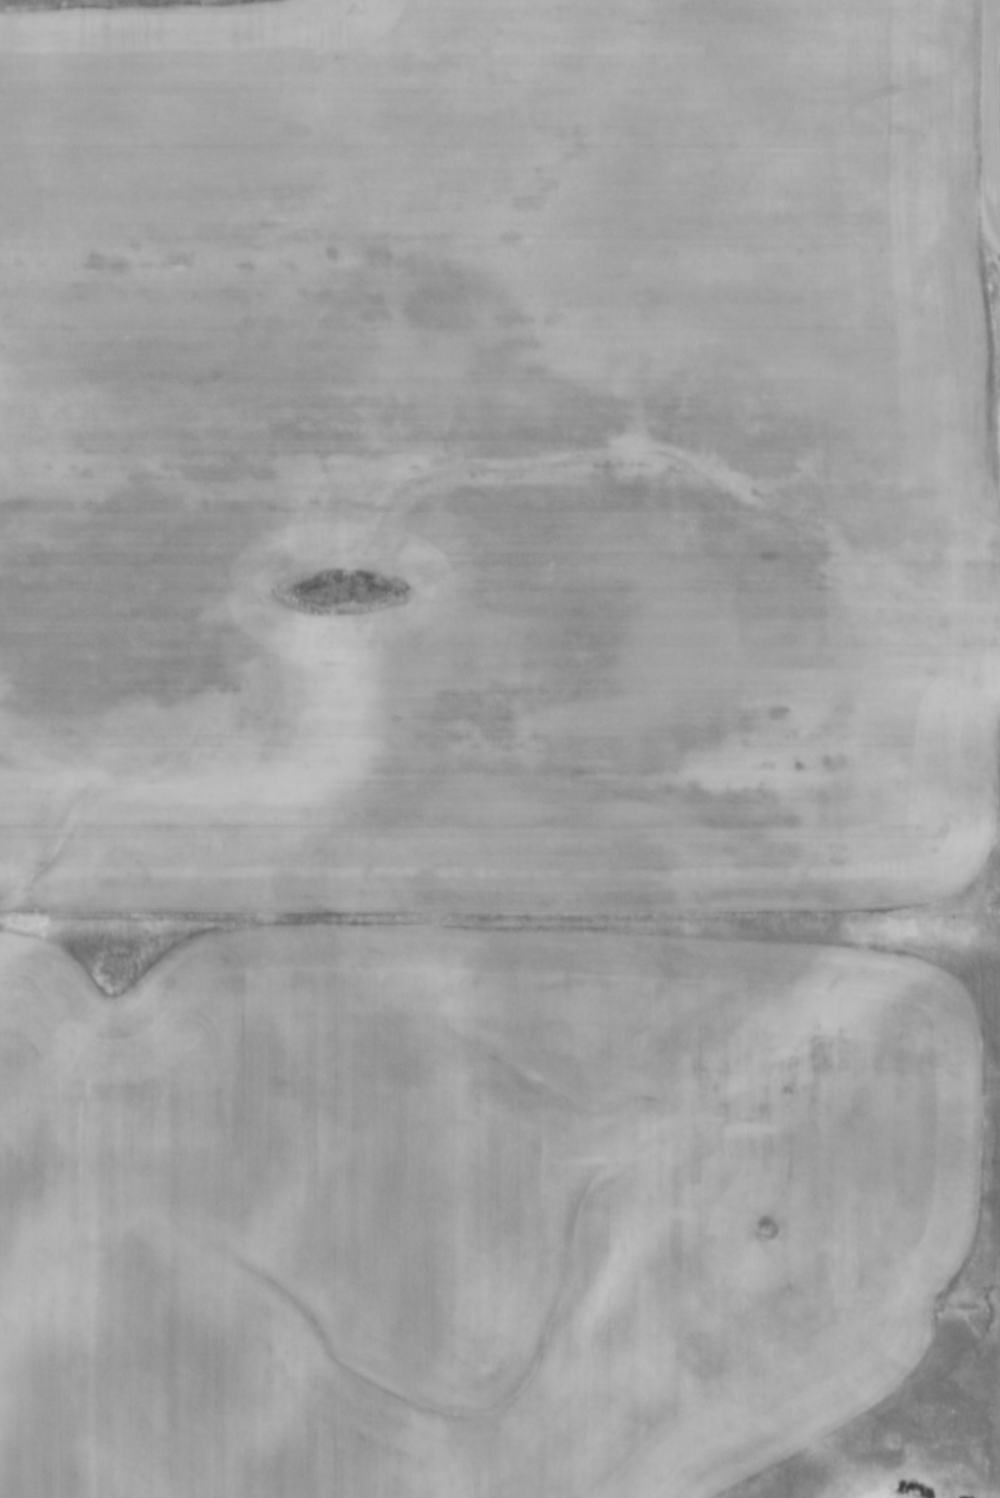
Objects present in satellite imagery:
road: (988, 92)

